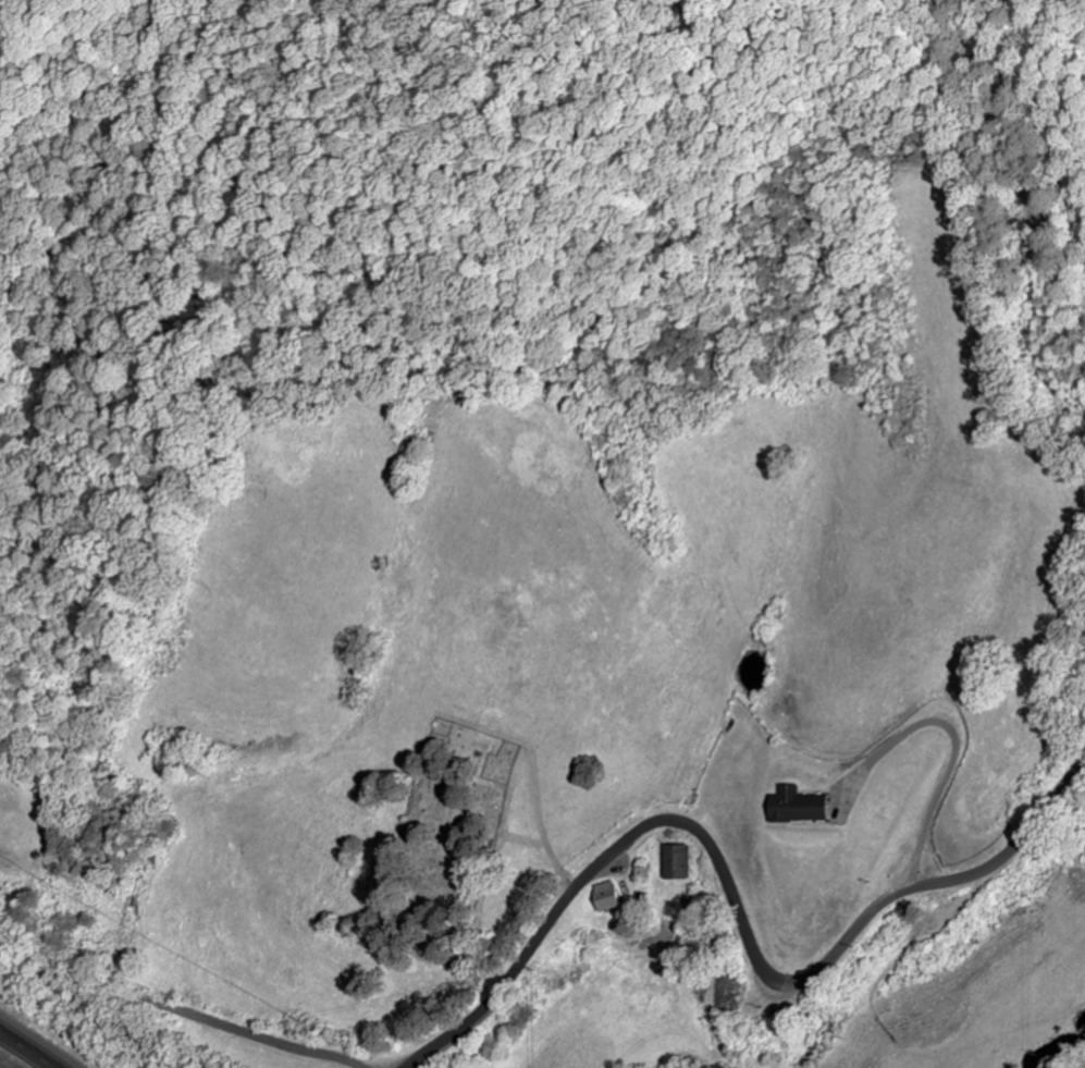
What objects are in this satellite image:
building: (803, 807)
park: (447, 833)
building: (678, 862)
building: (612, 897)
road: (738, 907)
road: (32, 1046)

